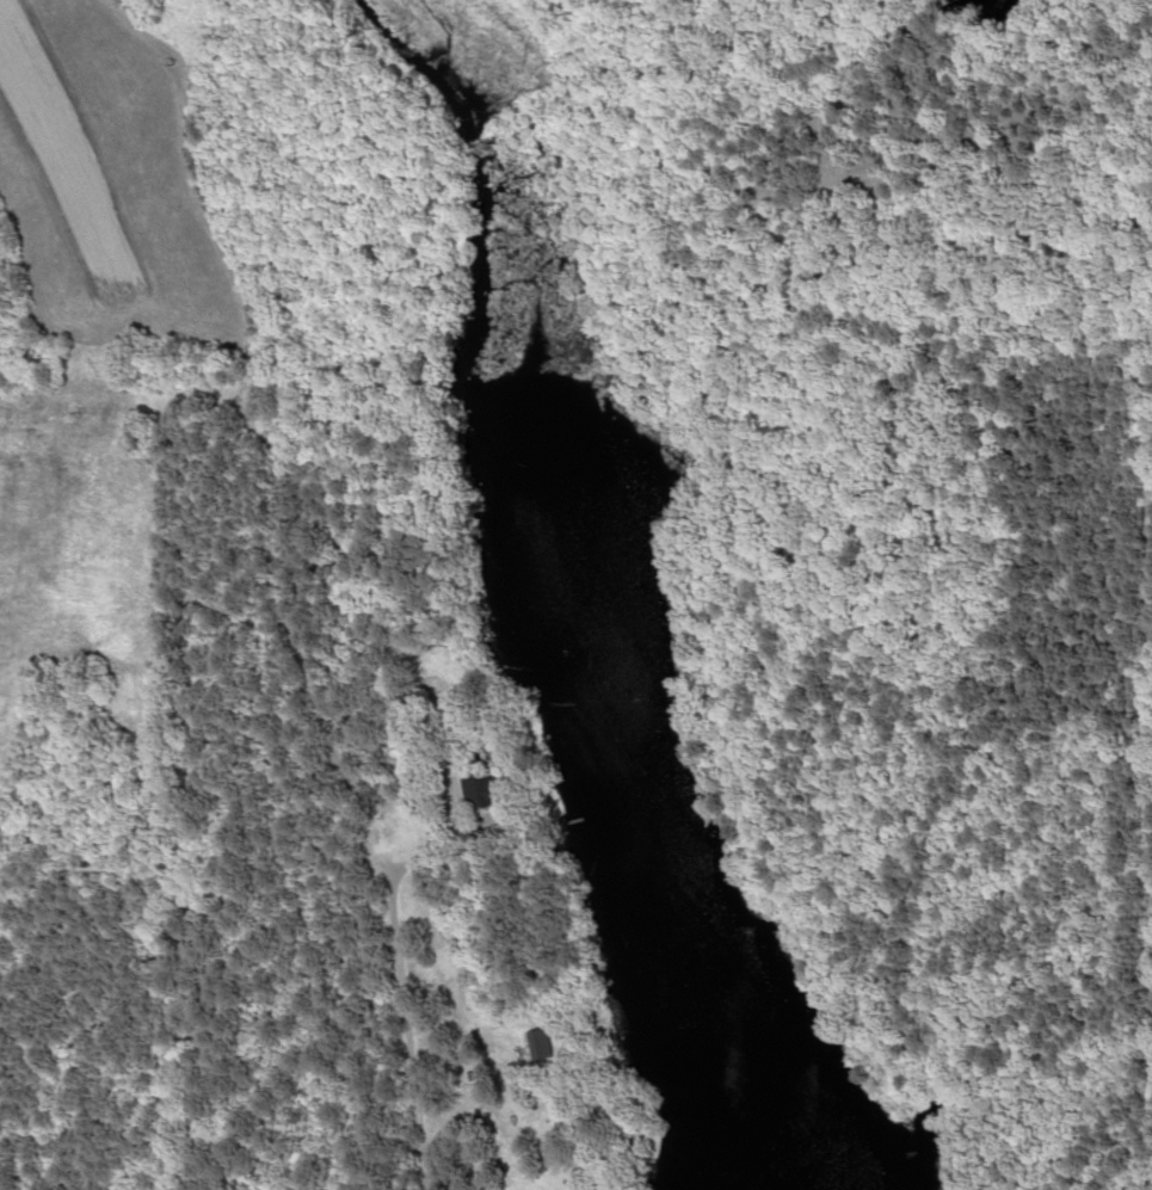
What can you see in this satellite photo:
building: (497, 791)

